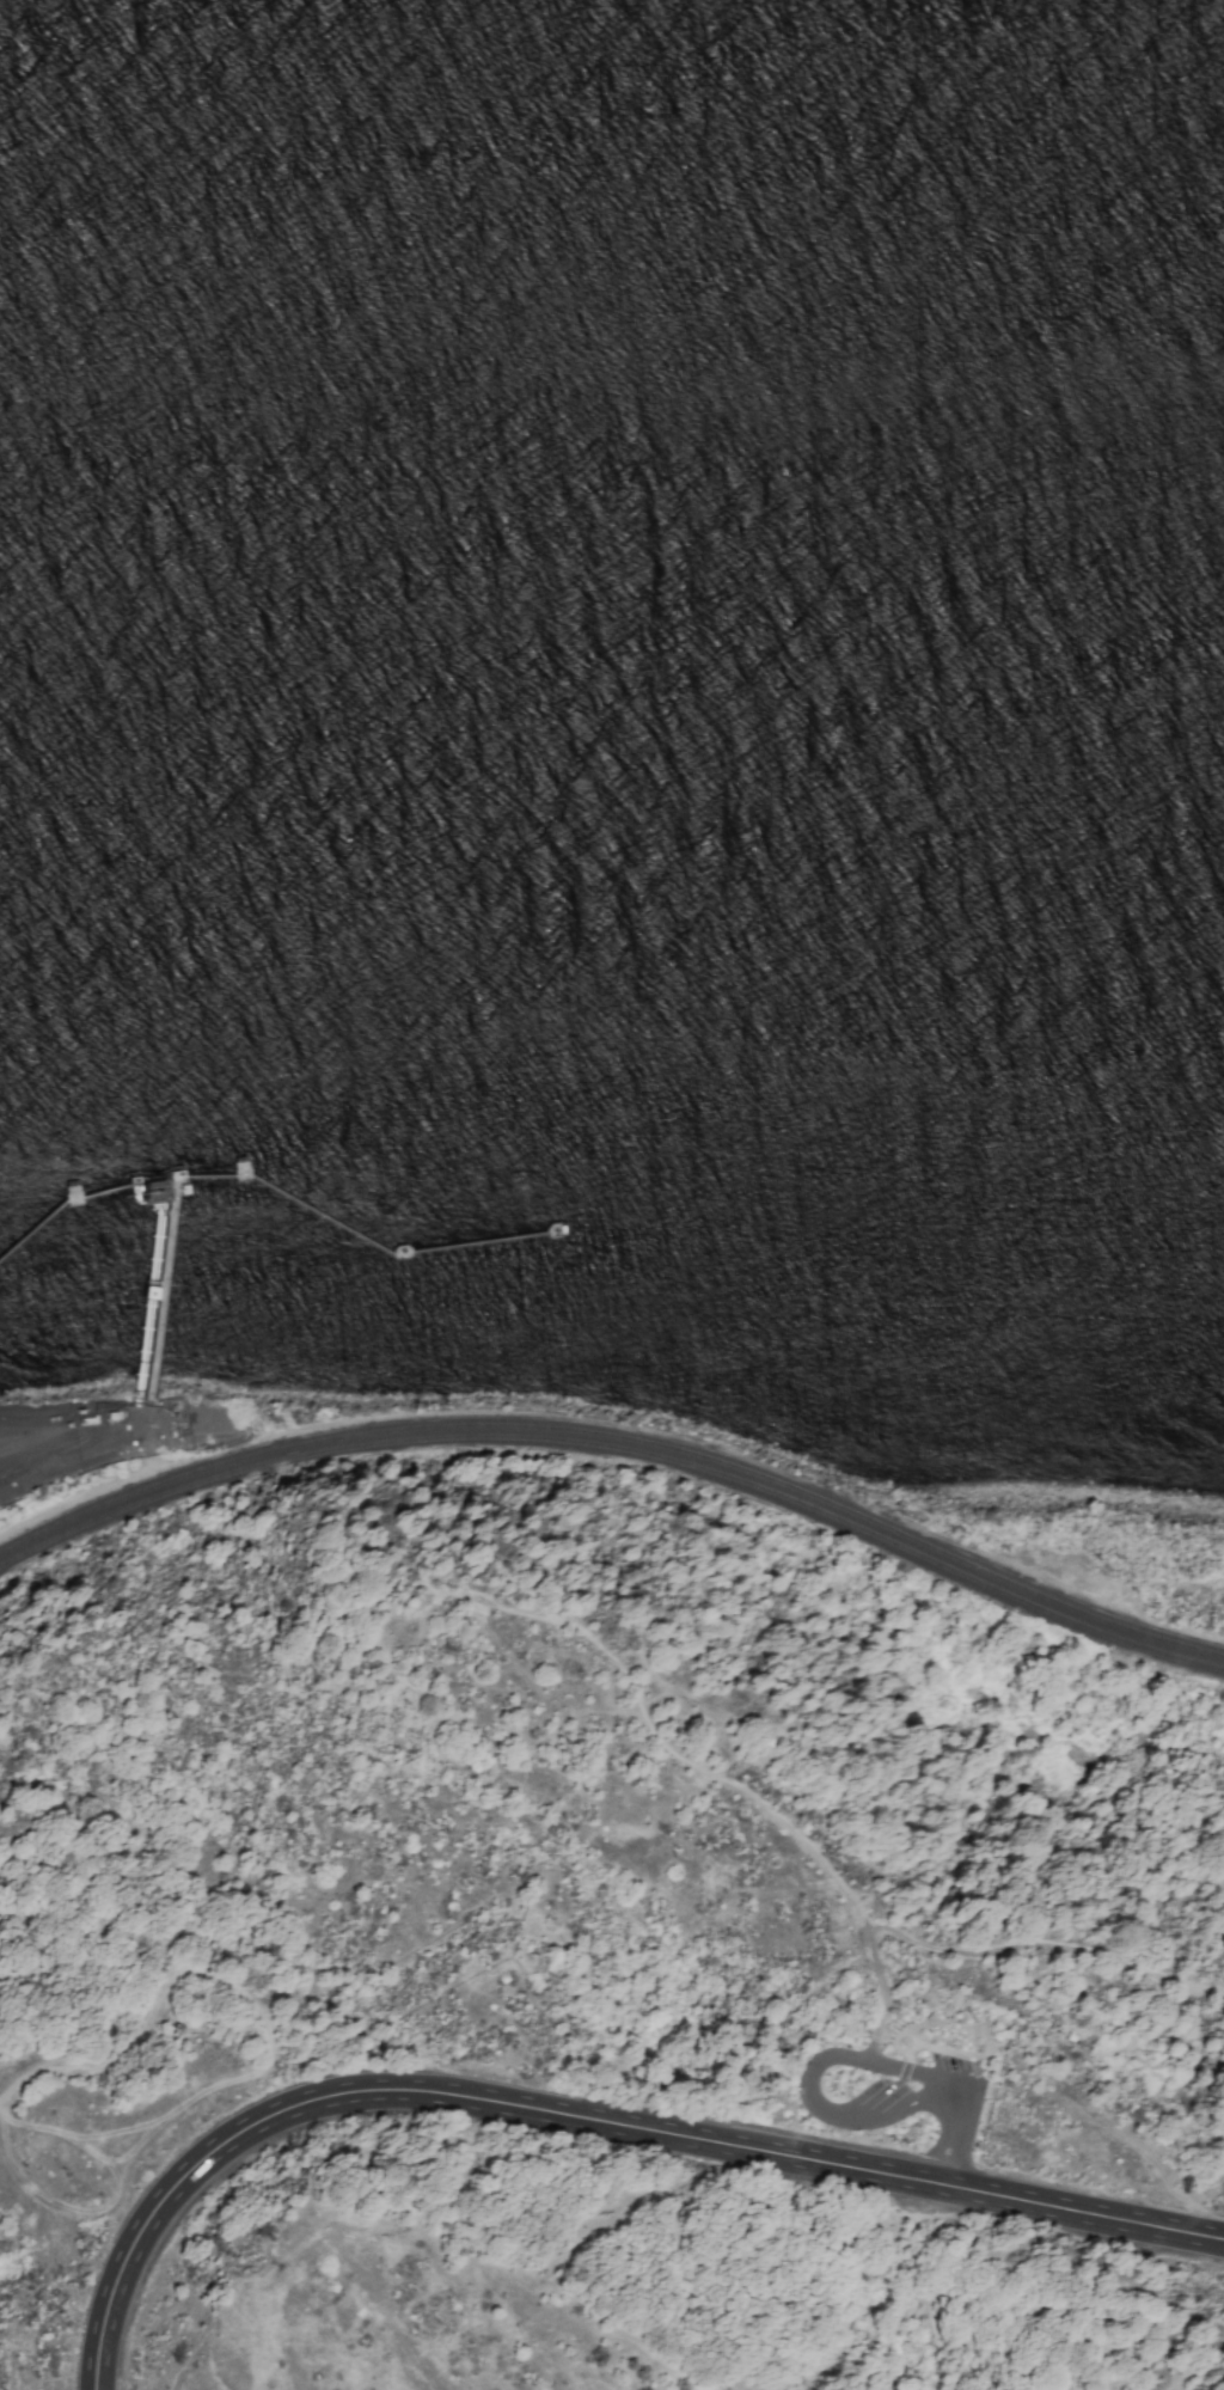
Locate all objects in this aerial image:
pier: (154, 1291)
railway: (620, 1437)
railway: (619, 1448)
road: (710, 1774)
road: (1040, 1943)
road: (973, 2056)
road: (906, 2058)
parking lot: (954, 2071)
road: (258, 2073)
road: (808, 2089)
road: (5, 2099)
road: (577, 2119)
road: (955, 2129)
road: (448, 2272)

